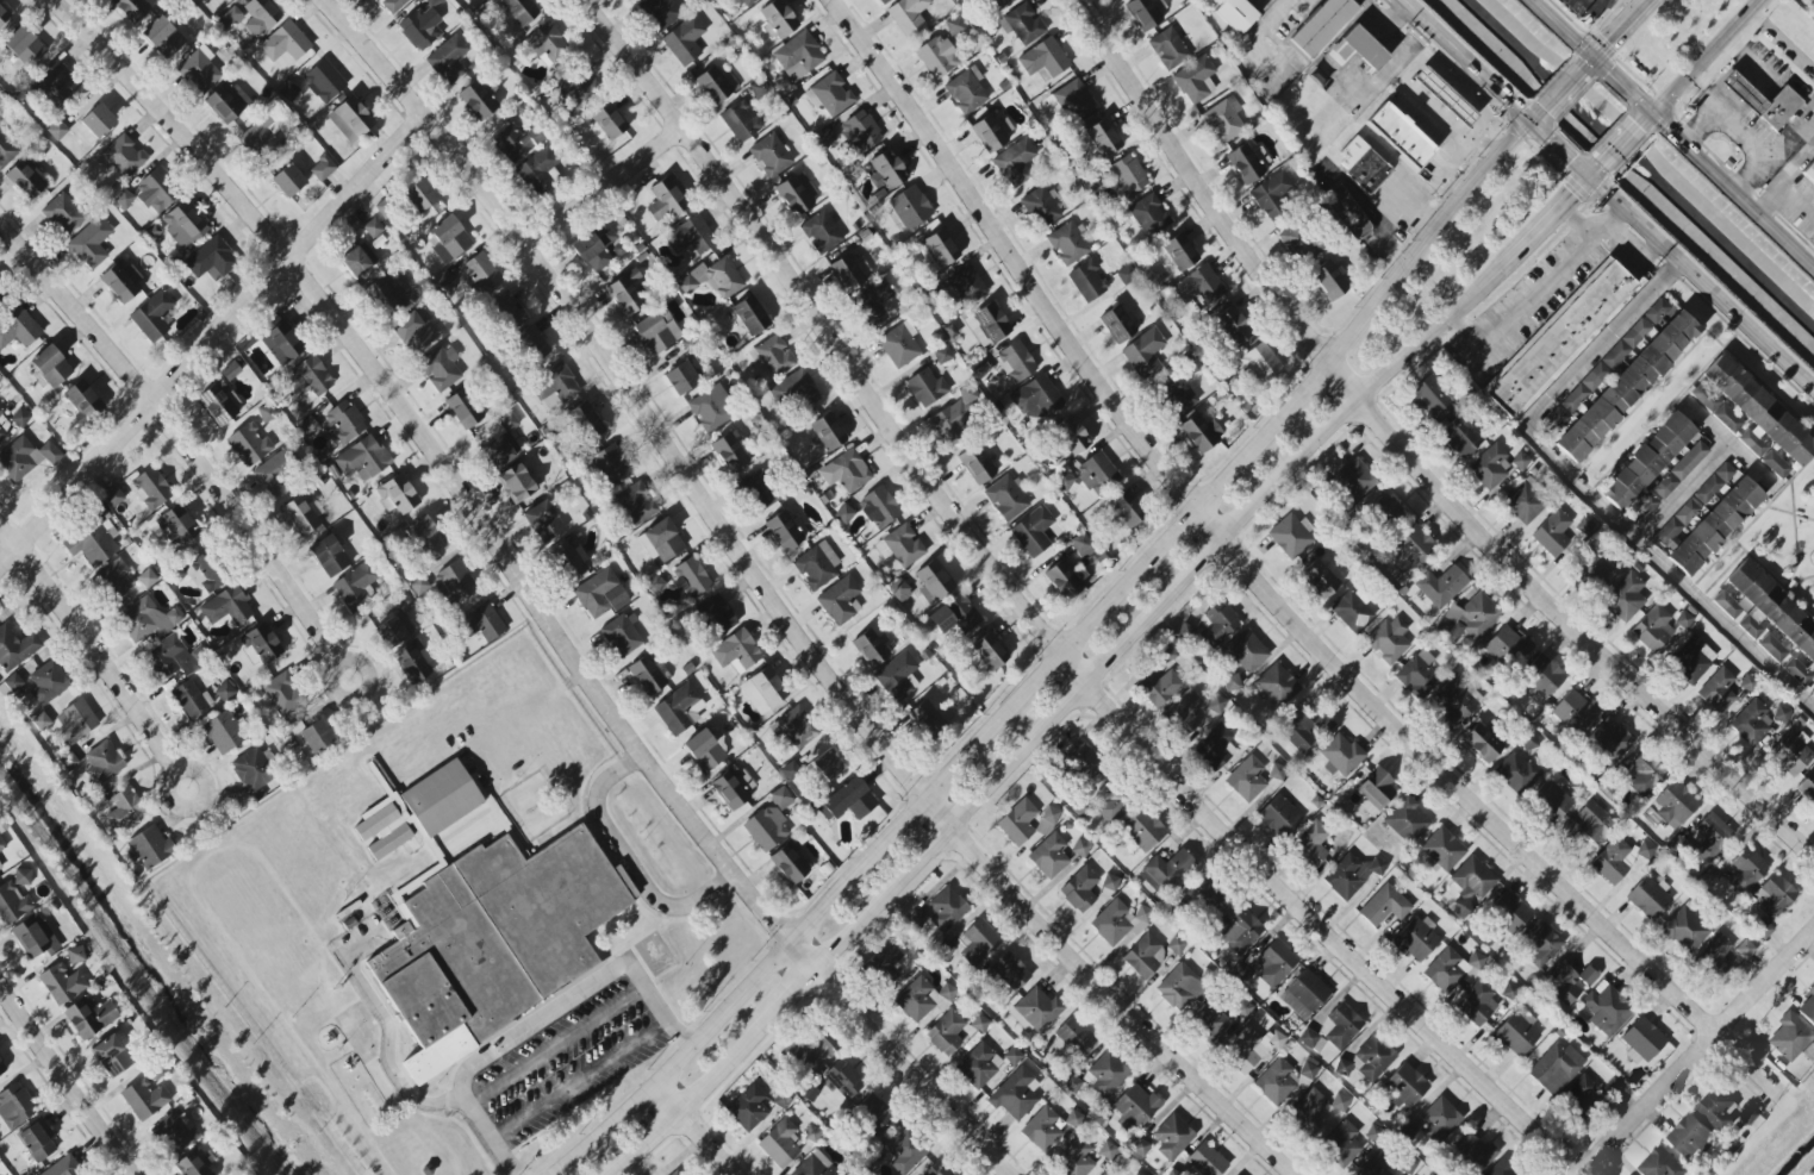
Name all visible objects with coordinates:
building: (752, 1)
building: (883, 1)
building: (999, 1)
road: (1642, 1)
building: (434, 2)
building: (392, 5)
building: (131, 8)
building: (520, 11)
building: (660, 12)
building: (1146, 12)
building: (1235, 14)
road: (1602, 14)
building: (909, 15)
building: (261, 17)
building: (230, 18)
building: (778, 19)
building: (1022, 24)
building: (954, 25)
building: (1322, 25)
building: (420, 27)
road: (1619, 29)
road: (1263, 35)
building: (163, 37)
building: (684, 40)
building: (547, 43)
road: (1782, 44)
building: (285, 45)
building: (25, 46)
building: (1168, 49)
building: (1357, 49)
building: (798, 56)
road: (1708, 56)
building: (937, 57)
road: (374, 58)
building: (1043, 58)
traffic signals: (1592, 58)
building: (448, 60)
road: (1588, 62)
road: (1747, 64)
building: (199, 70)
building: (54, 80)
building: (1195, 80)
building: (324, 81)
building: (716, 85)
road: (1561, 87)
building: (579, 88)
building: (966, 90)
building: (288, 92)
building: (830, 95)
building: (1445, 96)
building: (478, 100)
building: (1074, 100)
building: (226, 101)
building: (1764, 102)
traffic signals: (1653, 112)
road: (1535, 114)
road: (1648, 117)
building: (350, 118)
building: (1223, 120)
traffic signals: (1531, 120)
building: (740, 121)
building: (605, 123)
building: (85, 124)
road: (1737, 124)
road: (1702, 126)
building: (860, 132)
road: (1673, 132)
building: (990, 133)
building: (1401, 135)
building: (263, 138)
building: (1103, 138)
building: (827, 139)
building: (516, 143)
road: (1621, 144)
building: (6, 150)
building: (769, 156)
building: (121, 157)
building: (1247, 162)
building: (1015, 163)
building: (1363, 164)
building: (322, 168)
building: (540, 170)
building: (886, 170)
road: (1595, 171)
building: (1809, 173)
building: (1128, 175)
road: (1781, 175)
traffic signals: (1590, 176)
building: (25, 180)
building: (288, 181)
building: (1092, 182)
road: (606, 187)
building: (155, 192)
road: (1608, 193)
building: (797, 194)
building: (420, 195)
building: (1271, 195)
building: (124, 199)
road: (1795, 199)
building: (666, 200)
building: (910, 207)
building: (1040, 207)
building: (1348, 212)
building: (63, 214)
building: (563, 214)
building: (1149, 215)
road: (1581, 223)
road: (1545, 224)
building: (185, 225)
building: (373, 229)
building: (821, 232)
building: (688, 238)
building: (448, 239)
road: (1427, 239)
building: (91, 243)
building: (1067, 243)
building: (1295, 243)
building: (596, 246)
building: (939, 249)
road: (1634, 251)
building: (1179, 252)
building: (211, 260)
building: (359, 261)
building: (849, 271)
building: (480, 274)
building: (1126, 275)
building: (713, 279)
building: (1328, 280)
building: (121, 281)
building: (1087, 281)
building: (965, 286)
building: (1199, 288)
building: (0, 293)
building: (392, 293)
building: (627, 293)
road: (1538, 295)
building: (874, 304)
building: (507, 311)
building: (1657, 311)
building: (152, 315)
building: (750, 315)
building: (1117, 324)
building: (989, 325)
building: (1232, 326)
building: (18, 329)
building: (414, 330)
building: (656, 331)
road: (1430, 338)
building: (1559, 338)
road: (212, 343)
building: (282, 343)
building: (531, 344)
building: (899, 344)
building: (1143, 352)
building: (942, 355)
building: (772, 356)
building: (1015, 362)
building: (1261, 363)
building: (1606, 364)
building: (51, 367)
building: (1189, 367)
building: (441, 368)
building: (979, 368)
building: (230, 371)
building: (685, 376)
building: (307, 377)
building: (557, 386)
building: (1627, 386)
building: (925, 388)
building: (799, 389)
building: (1177, 396)
building: (1036, 398)
building: (1429, 398)
building: (82, 402)
building: (218, 404)
building: (463, 408)
building: (710, 408)
building: (1750, 410)
building: (1, 412)
building: (20, 418)
building: (954, 418)
building: (1554, 420)
building: (585, 421)
building: (342, 423)
building: (308, 426)
building: (828, 432)
building: (1201, 432)
building: (2, 433)
building: (1459, 435)
building: (1071, 436)
road: (181, 437)
building: (1753, 443)
building: (501, 444)
building: (247, 445)
road: (1733, 445)
building: (729, 454)
building: (25, 458)
road: (1407, 458)
building: (1520, 461)
building: (1646, 461)
road: (431, 462)
building: (977, 464)
building: (1775, 464)
building: (611, 465)
building: (1489, 467)
building: (1681, 469)
building: (846, 471)
building: (1097, 474)
building: (273, 479)
building: (1355, 479)
building: (1065, 481)
building: (516, 483)
building: (1714, 483)
building: (151, 488)
road: (1594, 489)
building: (759, 490)
building: (397, 494)
road: (1687, 494)
building: (113, 495)
building: (1006, 498)
building: (1650, 502)
building: (635, 504)
building: (1523, 504)
building: (879, 507)
building: (1385, 508)
building: (1124, 510)
building: (301, 514)
building: (844, 514)
building: (543, 521)
building: (1676, 525)
building: (1715, 526)
building: (176, 527)
building: (786, 531)
building: (1033, 531)
building: (1552, 533)
building: (1291, 536)
building: (424, 537)
building: (93, 540)
building: (660, 542)
building: (900, 545)
building: (1081, 546)
building: (1415, 546)
building: (1813, 555)
building: (329, 556)
building: (569, 560)
building: (817, 564)
building: (1592, 569)
building: (205, 574)
building: (690, 577)
building: (1065, 577)
building: (114, 579)
building: (147, 579)
building: (1321, 579)
building: (655, 582)
building: (933, 582)
building: (454, 583)
building: (355, 586)
building: (419, 586)
road: (1258, 586)
building: (1441, 586)
building: (902, 592)
building: (599, 594)
building: (1623, 594)
building: (840, 600)
building: (227, 607)
building: (1766, 610)
building: (1352, 611)
building: (716, 615)
building: (955, 615)
building: (1472, 617)
building: (147, 619)
building: (1684, 619)
building: (397, 623)
building: (480, 623)
building: (1217, 624)
road: (1035, 626)
building: (1653, 629)
building: (621, 636)
building: (1389, 640)
building: (262, 643)
road: (88, 646)
building: (15, 648)
building: (1508, 648)
building: (1772, 648)
building: (869, 649)
building: (736, 651)
building: (1246, 651)
building: (987, 654)
road: (1061, 655)
building: (168, 658)
building: (1691, 660)
building: (413, 661)
road: (349, 663)
building: (1797, 671)
road: (824, 674)
building: (1417, 675)
building: (647, 676)
building: (898, 676)
building: (1544, 676)
building: (38, 681)
building: (1230, 682)
building: (1748, 683)
road: (1086, 685)
building: (1277, 686)
building: (1159, 687)
building: (763, 690)
building: (1718, 690)
building: (225, 692)
building: (280, 695)
building: (191, 700)
building: (1457, 701)
building: (1216, 704)
building: (679, 710)
building: (1575, 711)
building: (1184, 712)
building: (1781, 714)
building: (927, 718)
building: (74, 721)
building: (1752, 723)
building: (794, 729)
building: (1304, 729)
building: (223, 732)
building: (306, 736)
building: (1610, 739)
building: (1529, 742)
building: (1482, 743)
building: (1215, 748)
building: (705, 750)
building: (1790, 754)
building: (1340, 755)
building: (1083, 762)
building: (102, 764)
building: (828, 765)
road: (189, 770)
building: (251, 770)
building: (1277, 771)
building: (1514, 771)
building: (1645, 774)
building: (1247, 780)
building: (1807, 788)
building: (730, 789)
building: (1376, 790)
building: (441, 798)
building: (781, 798)
building: (1552, 799)
building: (849, 800)
building: (95, 801)
building: (1111, 802)
building: (1675, 804)
building: (123, 808)
building: (1279, 817)
building: (1047, 820)
building: (1407, 820)
building: (1017, 823)
building: (1590, 824)
building: (767, 829)
building: (1143, 829)
building: (382, 830)
building: (1710, 837)
building: (1311, 843)
building: (1, 845)
building: (149, 848)
building: (1080, 848)
building: (1442, 850)
building: (1645, 850)
building: (1049, 856)
building: (1613, 860)
road: (627, 863)
building: (790, 863)
building: (1168, 869)
building: (1746, 870)
building: (1351, 875)
building: (20, 876)
building: (1110, 882)
building: (1471, 885)
building: (1080, 889)
building: (1208, 898)
building: (1648, 898)
building: (1774, 898)
building: (12, 904)
building: (1384, 906)
building: (942, 910)
building: (1509, 911)
building: (1118, 921)
building: (1762, 927)
building: (1238, 930)
building: (1685, 930)
building: (33, 937)
building: (1416, 939)
building: (492, 942)
building: (979, 943)
building: (1541, 943)
building: (1176, 945)
building: (1745, 949)
building: (945, 950)
building: (75, 955)
road: (803, 955)
building: (1715, 955)
building: (1145, 956)
building: (885, 962)
building: (1274, 963)
building: (1450, 969)
building: (1010, 970)
building: (1567, 982)
building: (62, 983)
building: (1179, 987)
building: (1304, 994)
building: (923, 999)
road: (785, 1002)
building: (1477, 1004)
building: (1808, 1007)
building: (1242, 1008)
building: (1036, 1011)
building: (1607, 1011)
road: (722, 1013)
building: (89, 1017)
building: (1209, 1021)
building: (979, 1024)
building: (1340, 1027)
building: (946, 1033)
building: (1516, 1033)
building: (1790, 1037)
building: (1072, 1038)
building: (1311, 1040)
building: (1641, 1042)
road: (556, 1045)
building: (1251, 1048)
road: (1697, 1050)
building: (810, 1054)
building: (111, 1056)
building: (1012, 1056)
building: (1372, 1058)
road: (475, 1063)
building: (978, 1065)
building: (1, 1067)
building: (1556, 1068)
road: (75, 1071)
road: (911, 1071)
road: (716, 1074)
building: (1105, 1074)
building: (843, 1079)
road: (581, 1080)
building: (1283, 1081)
building: (1404, 1086)
building: (1581, 1090)
building: (1015, 1094)
building: (145, 1099)
road: (666, 1099)
building: (783, 1100)
building: (1340, 1102)
building: (14, 1106)
building: (1135, 1106)
building: (748, 1108)
building: (1718, 1110)
building: (874, 1112)
building: (1309, 1112)
road: (621, 1113)
building: (1440, 1120)
building: (1041, 1130)
building: (174, 1133)
building: (811, 1133)
building: (1374, 1133)
road: (490, 1136)
building: (1172, 1137)
building: (1689, 1137)
building: (37, 1140)
road: (646, 1140)
road: (710, 1144)
building: (780, 1144)
building: (1342, 1144)
building: (1140, 1148)
building: (1108, 1150)
building: (903, 1151)
building: (1475, 1152)
road: (569, 1158)
building: (1074, 1160)
building: (1207, 1161)
building: (194, 1163)
building: (1660, 1164)
building: (1407, 1165)
building: (63, 1167)
building: (1376, 1167)
building: (810, 1168)
building: (937, 1169)
building: (1500, 1169)
road: (610, 1171)
building: (675, 1173)
building: (1173, 1173)
building: (1137, 1174)

